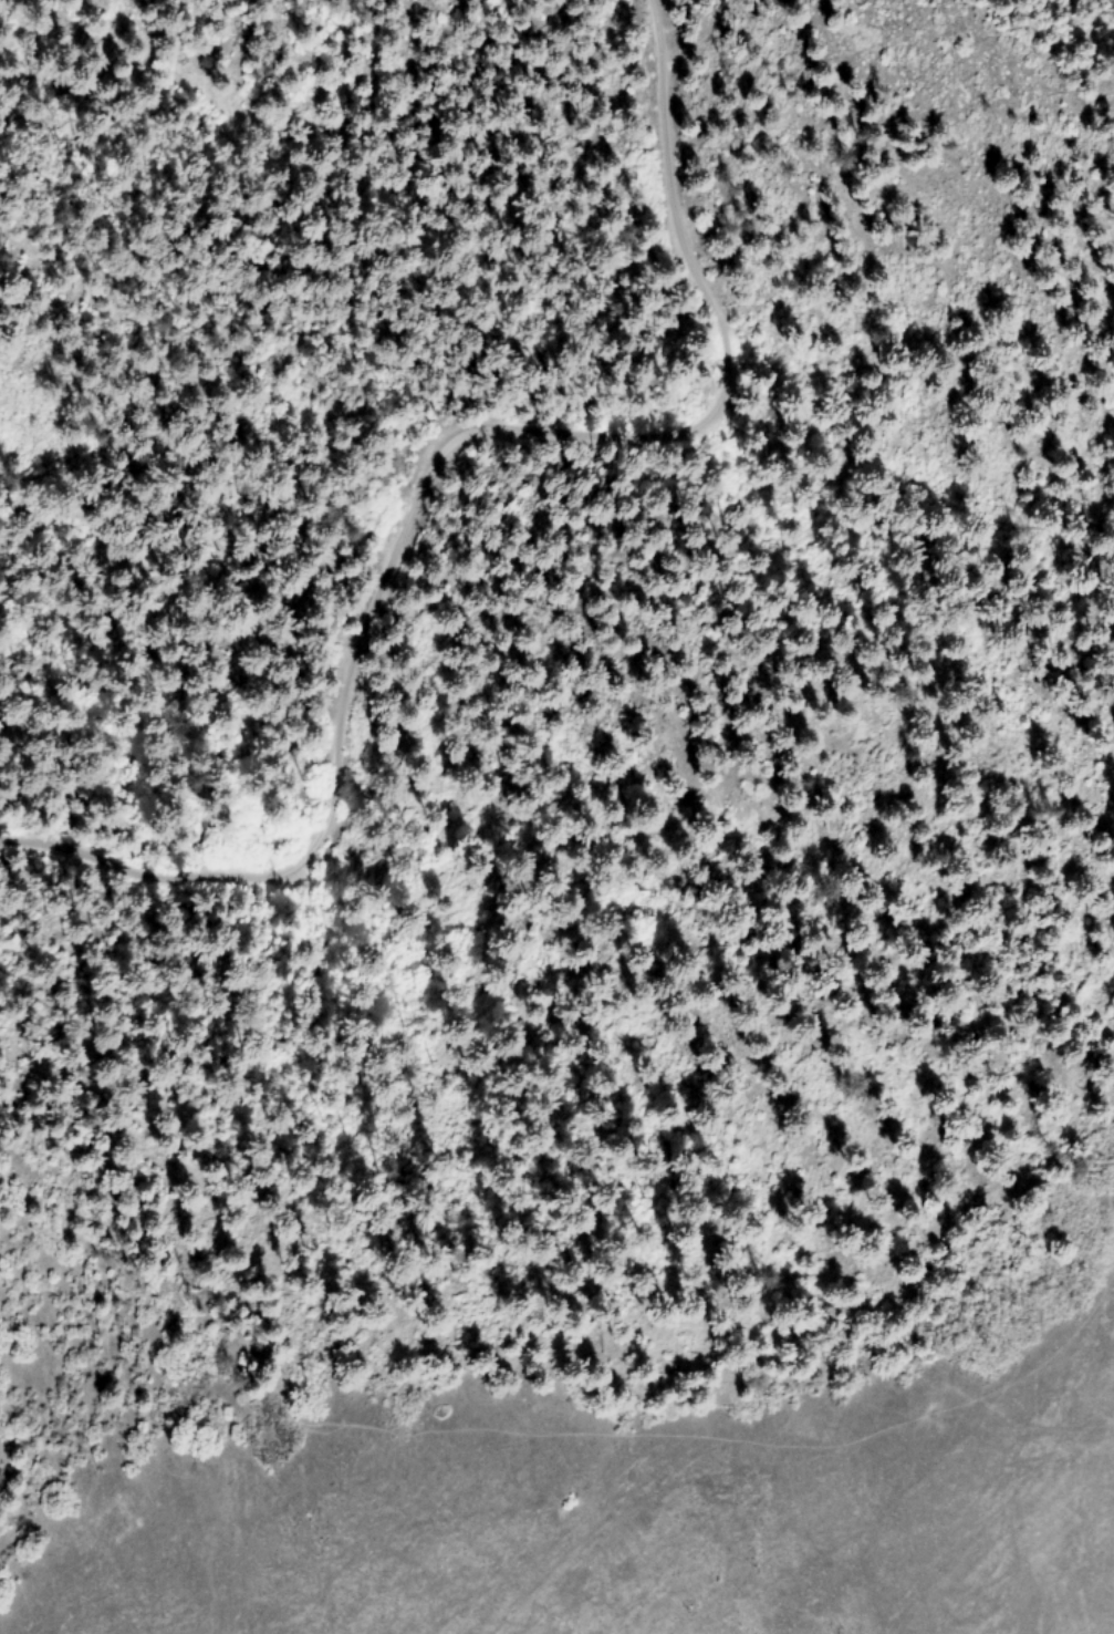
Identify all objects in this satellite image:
road: (421, 448)

